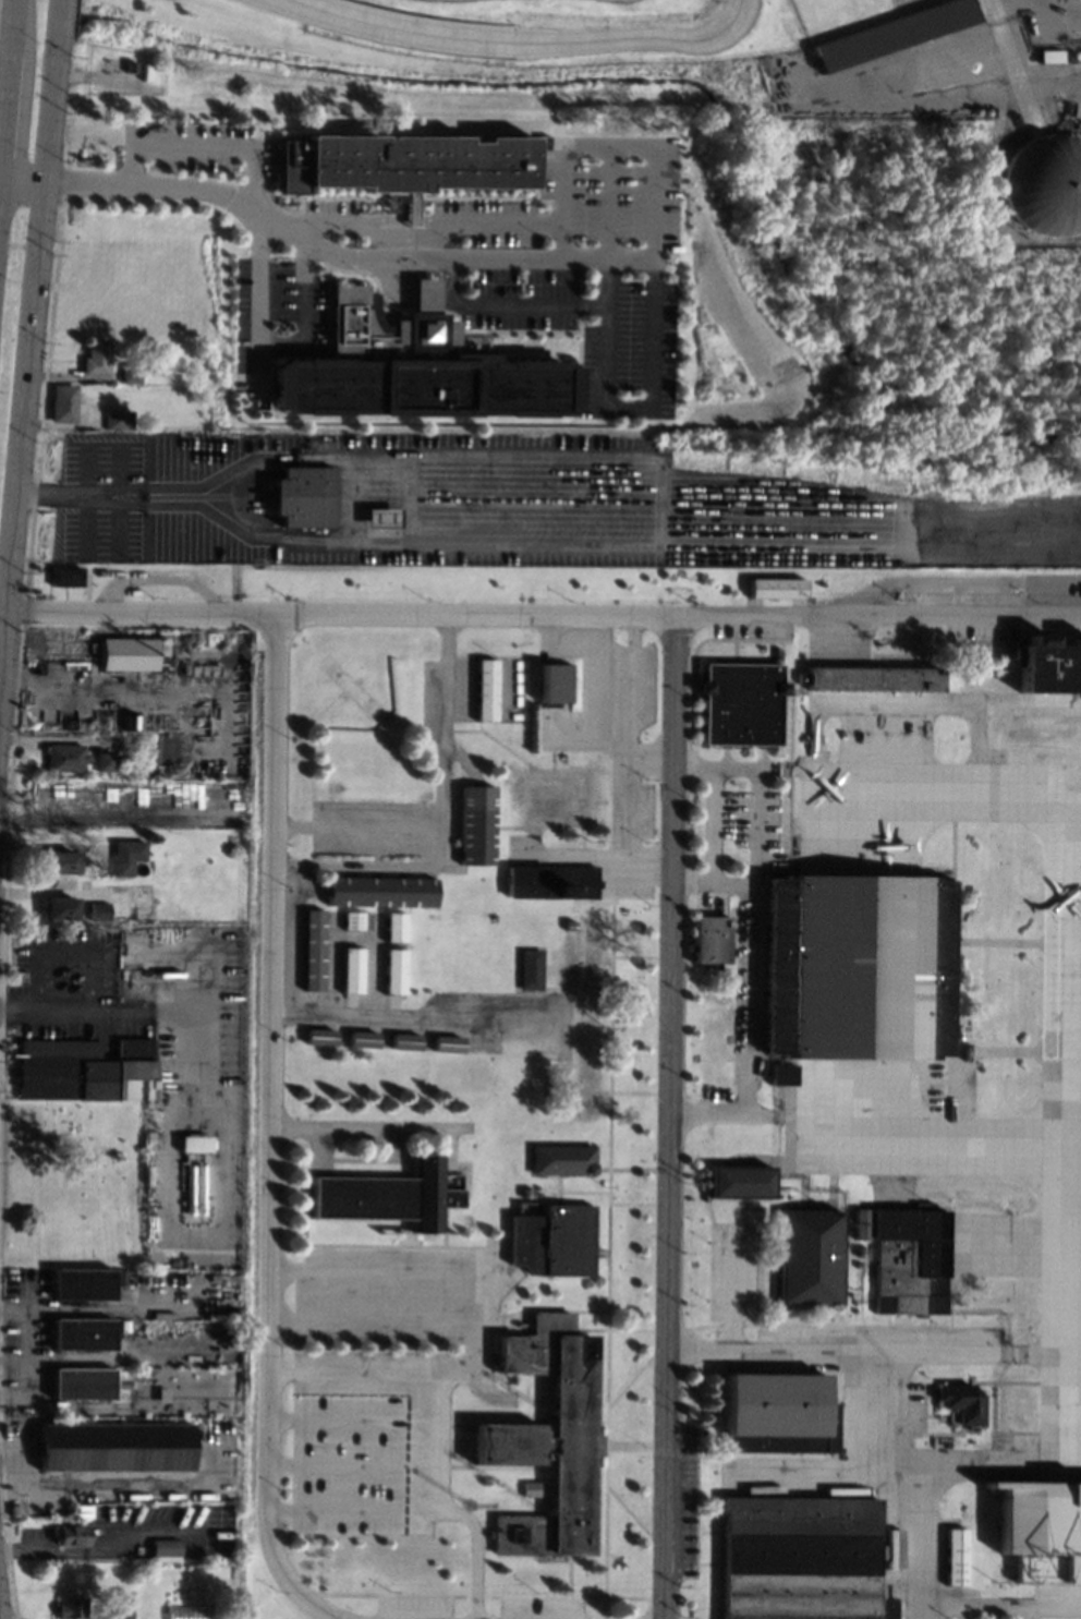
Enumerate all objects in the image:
road: (996, 10)
building: (894, 33)
road: (522, 40)
building: (1052, 55)
building: (1068, 58)
airport: (645, 60)
building: (130, 65)
building: (146, 71)
road: (1018, 74)
road: (7, 78)
road: (884, 86)
road: (2, 99)
road: (627, 138)
parking lot: (198, 146)
road: (205, 146)
building: (403, 161)
building: (1045, 183)
parking lot: (574, 195)
road: (606, 200)
parking lot: (325, 205)
road: (441, 222)
road: (320, 249)
road: (339, 269)
road: (35, 280)
road: (409, 292)
road: (509, 302)
parking lot: (278, 312)
parking lot: (588, 325)
road: (269, 346)
building: (95, 357)
building: (410, 367)
building: (127, 374)
building: (61, 403)
road: (631, 410)
building: (113, 419)
road: (51, 496)
parking lot: (168, 496)
building: (304, 496)
road: (236, 497)
parking lot: (642, 510)
building: (381, 517)
building: (65, 576)
building: (727, 576)
road: (160, 577)
building: (777, 588)
road: (8, 595)
road: (544, 613)
building: (163, 647)
building: (127, 652)
road: (2, 659)
building: (1049, 665)
building: (873, 678)
building: (554, 682)
building: (484, 690)
building: (741, 703)
road: (442, 737)
building: (64, 757)
building: (105, 761)
building: (118, 761)
building: (556, 800)
building: (475, 825)
road: (355, 827)
building: (126, 855)
building: (60, 861)
road: (355, 865)
building: (551, 881)
road: (715, 883)
road: (72, 891)
building: (381, 891)
building: (59, 908)
building: (98, 911)
building: (356, 919)
building: (588, 923)
building: (570, 925)
building: (394, 926)
road: (753, 937)
building: (712, 939)
building: (313, 950)
building: (859, 966)
building: (581, 967)
building: (530, 968)
building: (352, 969)
building: (394, 970)
building: (525, 1022)
building: (320, 1037)
building: (363, 1038)
road: (173, 1039)
building: (406, 1041)
building: (448, 1043)
building: (83, 1070)
building: (785, 1074)
building: (579, 1078)
airport: (655, 1086)
road: (669, 1115)
road: (357, 1127)
road: (267, 1128)
building: (150, 1137)
building: (194, 1144)
airport apron: (934, 1145)
building: (561, 1159)
building: (740, 1181)
building: (527, 1193)
building: (390, 1195)
building: (863, 1222)
building: (554, 1240)
building: (863, 1253)
building: (809, 1256)
building: (910, 1260)
building: (82, 1283)
road: (371, 1321)
road: (476, 1324)
building: (520, 1324)
building: (82, 1333)
road: (849, 1351)
building: (81, 1382)
building: (119, 1384)
building: (964, 1402)
building: (779, 1413)
road: (351, 1419)
building: (547, 1438)
building: (113, 1447)
road: (350, 1466)
road: (920, 1472)
building: (530, 1488)
road: (441, 1506)
road: (356, 1511)
building: (1041, 1529)
building: (70, 1533)
building: (165, 1549)
building: (956, 1557)
building: (802, 1558)
building: (901, 1561)
building: (70, 1606)
road: (1004, 1607)
road: (1020, 1614)
building: (122, 1615)

